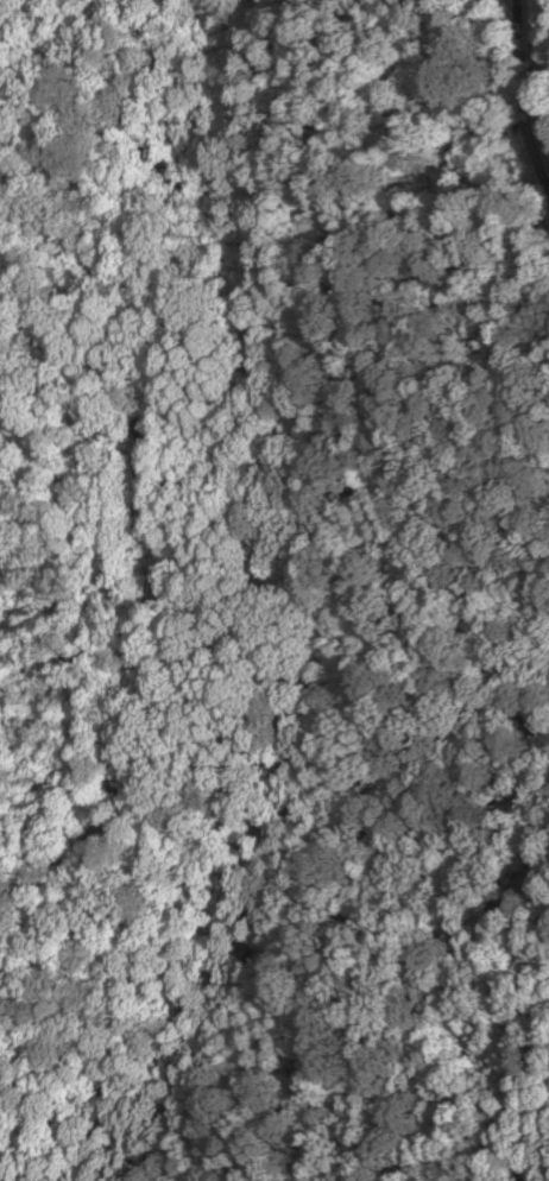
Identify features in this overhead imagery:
road: (537, 38)

